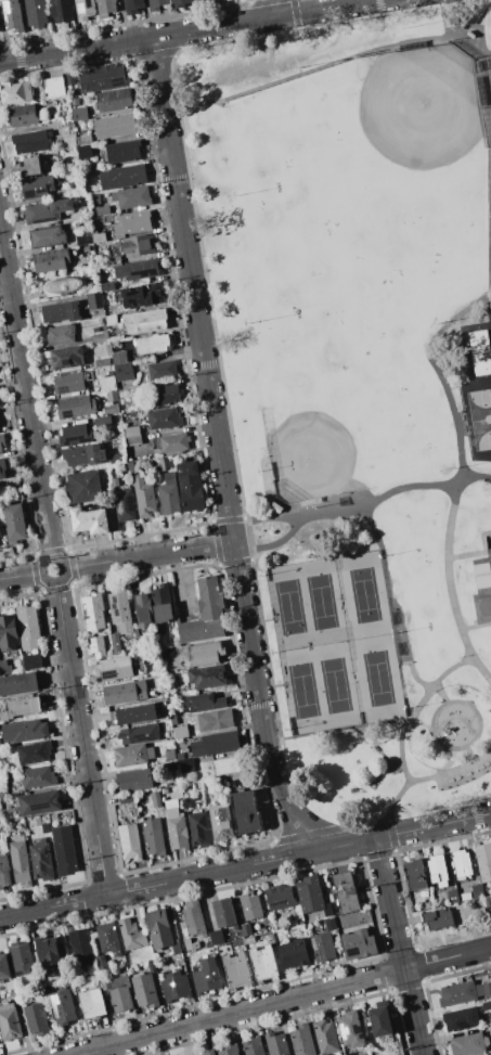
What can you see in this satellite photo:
building: (179, 3)
building: (156, 4)
building: (133, 7)
building: (106, 8)
road: (272, 8)
building: (85, 9)
building: (62, 11)
building: (36, 13)
building: (12, 15)
road: (263, 17)
road: (480, 40)
road: (466, 42)
road: (75, 49)
road: (488, 52)
road: (259, 53)
road: (332, 63)
road: (489, 72)
building: (102, 78)
building: (69, 79)
building: (53, 88)
building: (15, 92)
building: (114, 101)
building: (75, 102)
building: (79, 114)
building: (23, 115)
building: (114, 126)
building: (83, 139)
building: (30, 141)
building: (85, 152)
building: (122, 152)
building: (30, 167)
building: (122, 177)
building: (38, 186)
park: (362, 188)
building: (133, 197)
building: (102, 210)
building: (47, 211)
building: (132, 223)
building: (47, 236)
building: (83, 237)
building: (98, 237)
building: (131, 245)
building: (85, 247)
building: (51, 260)
building: (114, 260)
building: (135, 269)
building: (64, 286)
building: (106, 286)
road: (490, 293)
building: (140, 294)
building: (94, 300)
road: (488, 306)
building: (60, 312)
building: (111, 321)
building: (144, 322)
building: (60, 334)
building: (100, 337)
building: (152, 344)
road: (465, 344)
building: (480, 351)
building: (67, 358)
building: (119, 358)
building: (101, 362)
building: (161, 371)
building: (122, 372)
building: (68, 383)
building: (107, 383)
road: (439, 385)
park: (358, 386)
road: (477, 386)
road: (208, 387)
road: (26, 393)
building: (127, 393)
building: (161, 395)
building: (111, 396)
park: (350, 401)
building: (76, 407)
building: (109, 408)
park: (480, 417)
building: (164, 419)
building: (102, 421)
road: (469, 429)
building: (131, 432)
building: (75, 435)
building: (132, 441)
building: (2, 442)
building: (175, 443)
building: (87, 455)
building: (158, 464)
building: (132, 467)
building: (3, 468)
building: (114, 483)
building: (190, 486)
building: (83, 487)
building: (169, 494)
building: (144, 497)
building: (124, 504)
road: (360, 509)
road: (267, 517)
building: (90, 520)
building: (14, 523)
building: (0, 540)
road: (479, 553)
road: (148, 554)
road: (21, 576)
road: (61, 580)
building: (482, 584)
park: (363, 594)
park: (320, 602)
road: (390, 602)
building: (161, 603)
park: (288, 606)
building: (144, 610)
building: (93, 612)
building: (120, 612)
building: (204, 614)
road: (260, 621)
building: (28, 626)
building: (9, 633)
building: (116, 643)
building: (96, 647)
building: (205, 654)
building: (33, 661)
building: (4, 668)
building: (115, 668)
building: (207, 677)
park: (376, 678)
building: (18, 684)
park: (334, 685)
road: (270, 686)
park: (301, 691)
road: (440, 692)
building: (127, 693)
building: (206, 703)
building: (24, 706)
road: (416, 708)
road: (473, 708)
building: (133, 715)
building: (216, 720)
building: (173, 721)
road: (336, 730)
building: (24, 731)
building: (180, 732)
building: (139, 734)
road: (81, 738)
building: (215, 744)
building: (34, 752)
road: (470, 752)
building: (130, 755)
road: (384, 756)
building: (186, 765)
building: (225, 765)
road: (385, 765)
building: (169, 767)
building: (38, 777)
road: (423, 777)
building: (134, 780)
building: (219, 781)
building: (2, 787)
building: (165, 790)
building: (124, 799)
building: (155, 799)
road: (283, 801)
building: (39, 802)
building: (245, 812)
building: (52, 816)
road: (441, 823)
building: (220, 824)
building: (176, 825)
building: (46, 828)
building: (198, 829)
building: (153, 837)
building: (130, 841)
road: (359, 841)
building: (64, 850)
building: (41, 860)
building: (483, 861)
building: (20, 863)
building: (461, 863)
building: (437, 871)
building: (4, 873)
building: (415, 875)
road: (163, 884)
building: (477, 891)
building: (345, 892)
building: (311, 896)
building: (452, 896)
building: (280, 897)
building: (487, 904)
building: (250, 906)
building: (225, 913)
building: (193, 919)
building: (436, 919)
building: (331, 924)
building: (246, 929)
building: (160, 930)
building: (131, 935)
building: (216, 937)
building: (108, 939)
building: (243, 941)
building: (358, 943)
building: (186, 944)
building: (81, 945)
road: (399, 945)
building: (322, 947)
building: (293, 953)
building: (22, 956)
road: (448, 958)
building: (50, 960)
building: (101, 963)
building: (262, 963)
building: (4, 967)
building: (235, 970)
building: (206, 977)
building: (175, 986)
building: (144, 990)
building: (42, 991)
building: (463, 992)
building: (118, 993)
building: (92, 1003)
building: (486, 1005)
building: (62, 1007)
road: (238, 1012)
building: (461, 1018)
building: (36, 1019)
building: (383, 1019)
building: (10, 1022)
building: (490, 1027)
building: (351, 1029)
building: (325, 1037)
building: (301, 1040)
building: (276, 1044)
building: (468, 1044)
building: (253, 1046)
building: (229, 1051)
building: (208, 1052)

